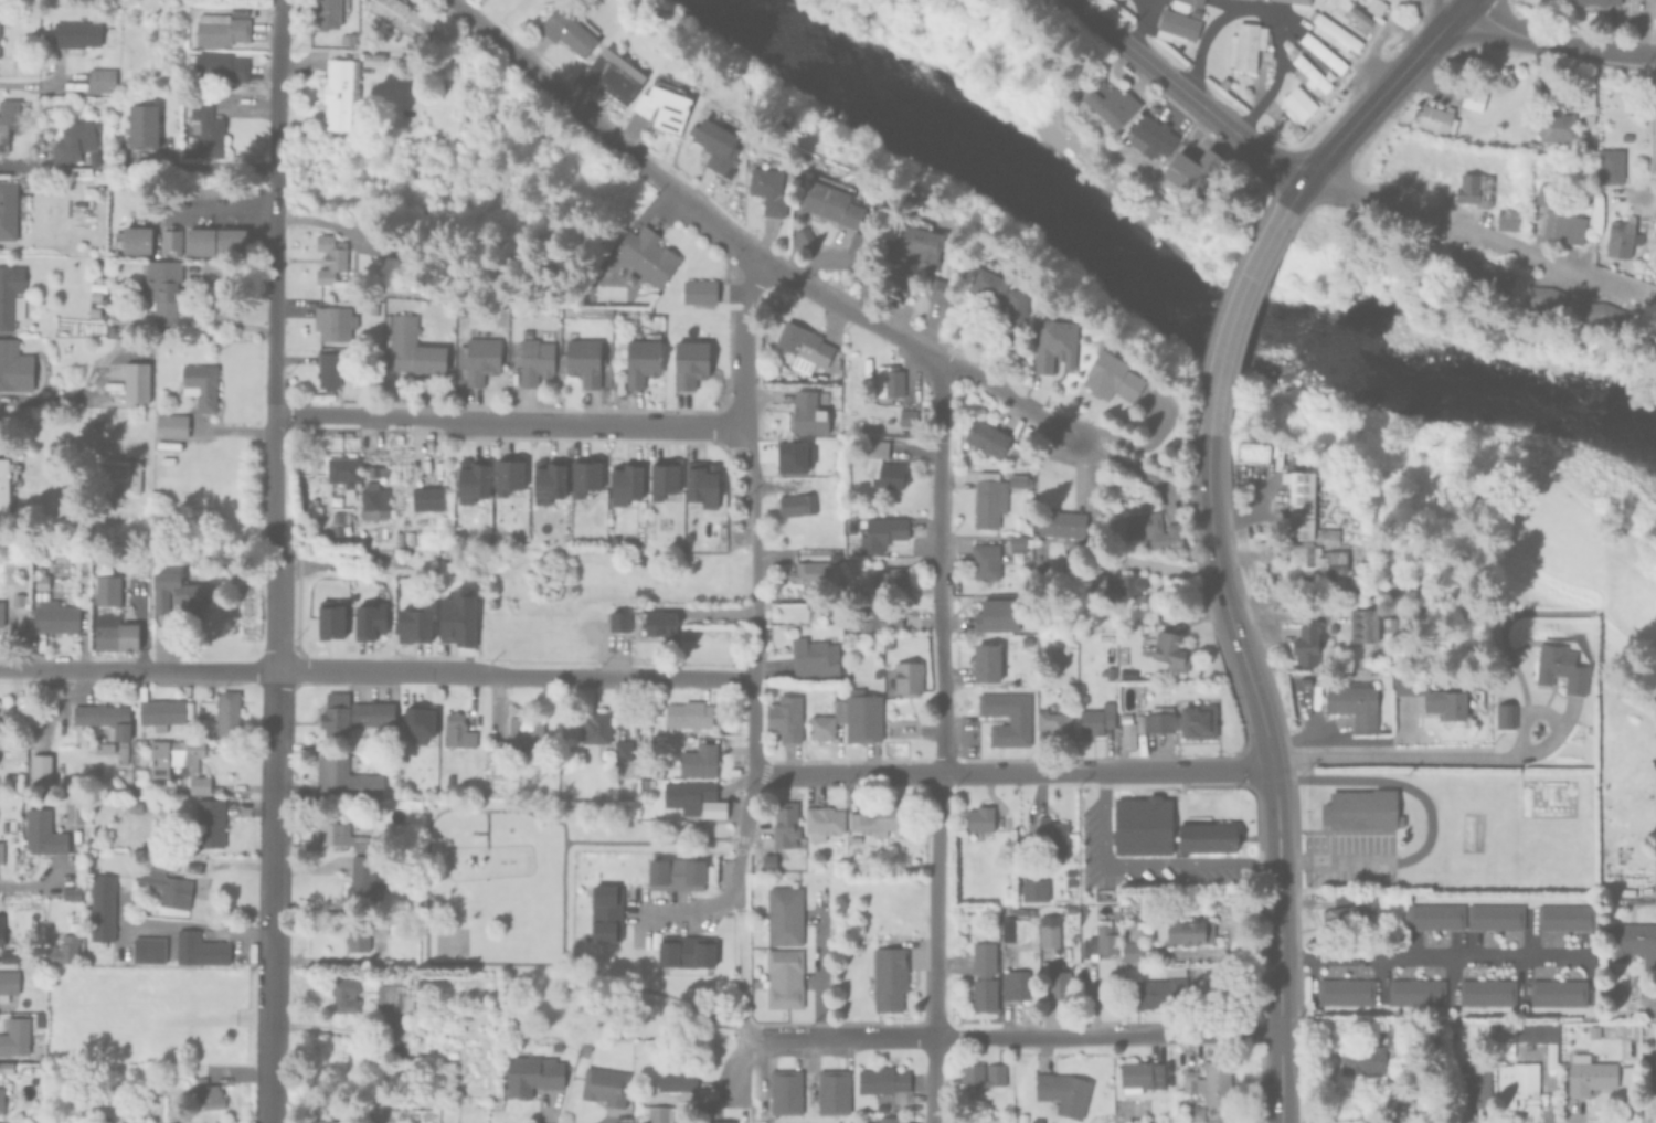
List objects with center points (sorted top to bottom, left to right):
building: (1303, 0)
building: (1595, 1)
building: (1374, 4)
building: (323, 11)
road: (1268, 12)
building: (1357, 13)
building: (397, 15)
building: (721, 20)
road: (1095, 22)
building: (1177, 24)
building: (217, 27)
building: (566, 28)
building: (1334, 31)
building: (83, 35)
building: (344, 35)
building: (1244, 43)
road: (1556, 45)
building: (1320, 52)
building: (216, 64)
building: (613, 72)
building: (1308, 73)
building: (100, 81)
road: (41, 84)
road: (1382, 91)
building: (338, 92)
building: (1540, 95)
building: (1471, 98)
building: (1585, 99)
building: (1296, 100)
building: (660, 102)
building: (1104, 103)
road: (1211, 115)
building: (1434, 117)
building: (7, 121)
building: (139, 124)
building: (205, 128)
building: (1556, 128)
building: (1149, 133)
building: (713, 136)
road: (1652, 137)
building: (76, 144)
road: (209, 165)
building: (1607, 165)
building: (1190, 170)
building: (766, 184)
building: (1473, 187)
building: (88, 193)
building: (1547, 194)
building: (829, 199)
building: (906, 201)
building: (8, 210)
road: (223, 211)
building: (1506, 218)
building: (1562, 225)
building: (803, 234)
building: (170, 235)
road: (1462, 235)
building: (1621, 235)
building: (134, 236)
building: (198, 239)
building: (229, 240)
building: (854, 241)
building: (912, 241)
building: (644, 253)
building: (328, 256)
building: (1479, 272)
road: (782, 275)
building: (157, 286)
building: (941, 287)
building: (696, 289)
building: (998, 292)
river: (1160, 295)
building: (11, 296)
building: (95, 296)
road: (1234, 305)
building: (513, 309)
building: (1570, 309)
building: (331, 320)
road: (741, 339)
building: (1052, 342)
building: (800, 343)
building: (408, 345)
building: (638, 353)
building: (533, 354)
building: (476, 357)
building: (582, 358)
building: (689, 361)
building: (11, 367)
building: (326, 368)
building: (1110, 375)
building: (888, 379)
building: (136, 383)
building: (198, 383)
building: (807, 410)
building: (905, 415)
road: (355, 417)
building: (168, 424)
road: (588, 425)
building: (984, 436)
building: (875, 446)
building: (1250, 448)
building: (341, 470)
building: (125, 473)
building: (505, 473)
building: (584, 474)
building: (889, 475)
building: (660, 476)
building: (545, 477)
building: (470, 478)
building: (1016, 478)
building: (623, 479)
building: (701, 480)
building: (7, 481)
road: (750, 487)
building: (427, 498)
building: (374, 499)
building: (988, 499)
building: (798, 500)
building: (1306, 509)
building: (1062, 523)
building: (1154, 529)
building: (882, 533)
building: (401, 538)
building: (411, 538)
building: (1019, 541)
building: (834, 554)
building: (835, 559)
road: (274, 561)
building: (986, 561)
building: (1313, 563)
building: (139, 572)
building: (809, 573)
building: (86, 574)
building: (890, 579)
building: (1100, 581)
building: (44, 582)
building: (1126, 587)
building: (108, 594)
road: (1273, 598)
building: (182, 600)
building: (22, 602)
road: (1225, 605)
road: (752, 613)
building: (997, 615)
building: (2, 616)
building: (878, 616)
building: (60, 617)
building: (329, 618)
building: (459, 618)
building: (368, 621)
building: (619, 621)
building: (1392, 622)
building: (1365, 624)
building: (411, 625)
building: (661, 625)
building: (118, 635)
building: (1027, 640)
building: (1306, 646)
building: (1170, 650)
building: (1055, 656)
building: (815, 657)
building: (986, 663)
building: (1560, 665)
building: (1127, 672)
road: (376, 674)
building: (1111, 674)
building: (907, 678)
building: (1433, 697)
building: (1356, 703)
building: (163, 713)
building: (336, 713)
building: (372, 713)
road: (1548, 713)
building: (689, 714)
building: (1503, 714)
building: (230, 717)
building: (786, 717)
building: (851, 718)
building: (1015, 719)
building: (1097, 719)
building: (1054, 720)
building: (1171, 722)
building: (417, 724)
road: (750, 725)
building: (107, 727)
building: (596, 728)
building: (459, 731)
building: (518, 739)
road: (1351, 740)
road: (941, 741)
building: (623, 750)
building: (21, 752)
building: (125, 754)
road: (1398, 756)
building: (176, 758)
building: (699, 761)
road: (1201, 771)
road: (945, 772)
building: (347, 778)
building: (43, 781)
building: (21, 786)
building: (204, 792)
building: (689, 794)
building: (713, 808)
building: (1363, 808)
building: (137, 811)
building: (163, 812)
building: (77, 814)
building: (879, 818)
building: (980, 820)
road: (554, 822)
building: (825, 823)
building: (213, 826)
building: (786, 826)
building: (1138, 827)
building: (45, 836)
building: (343, 836)
building: (1207, 836)
building: (1052, 837)
road: (741, 841)
road: (652, 844)
building: (3, 855)
road: (1145, 862)
building: (195, 870)
building: (675, 872)
building: (360, 878)
building: (1089, 882)
road: (22, 889)
building: (1034, 889)
building: (176, 890)
road: (1276, 896)
building: (74, 897)
building: (1350, 908)
building: (106, 910)
building: (1026, 910)
building: (605, 912)
road: (688, 913)
building: (784, 914)
building: (1494, 915)
building: (1563, 915)
building: (1434, 917)
park: (558, 919)
road: (182, 923)
building: (378, 925)
building: (1008, 929)
building: (1136, 929)
building: (1187, 930)
building: (3, 932)
building: (1050, 934)
building: (357, 937)
building: (1101, 941)
building: (1633, 942)
building: (856, 946)
building: (684, 950)
building: (1132, 951)
building: (152, 952)
building: (203, 952)
building: (67, 953)
road: (1429, 957)
building: (13, 958)
road: (818, 971)
building: (42, 976)
building: (984, 976)
building: (784, 977)
building: (890, 977)
building: (1059, 982)
building: (1018, 984)
building: (10, 987)
building: (1485, 989)
building: (1161, 990)
building: (1346, 990)
building: (1418, 990)
road: (646, 992)
building: (1556, 992)
building: (343, 994)
building: (391, 997)
road: (737, 999)
building: (1061, 1009)
building: (42, 1020)
building: (1500, 1023)
building: (1440, 1026)
building: (1592, 1031)
building: (1394, 1034)
building: (1538, 1036)
road: (1106, 1037)
building: (18, 1040)
road: (842, 1042)
building: (1362, 1059)
building: (1649, 1067)
road: (730, 1070)
building: (1588, 1073)
building: (533, 1074)
building: (1140, 1076)
building: (972, 1077)
road: (1280, 1077)
building: (677, 1078)
building: (1514, 1081)
building: (885, 1082)
building: (1211, 1082)
building: (1473, 1082)
building: (604, 1085)
building: (785, 1091)
building: (834, 1091)
building: (1064, 1092)
building: (210, 1096)
building: (6, 1100)
building: (1408, 1108)
building: (1191, 1113)
building: (656, 1114)
building: (888, 1119)
building: (1037, 1120)
building: (321, 1121)
building: (720, 1121)

